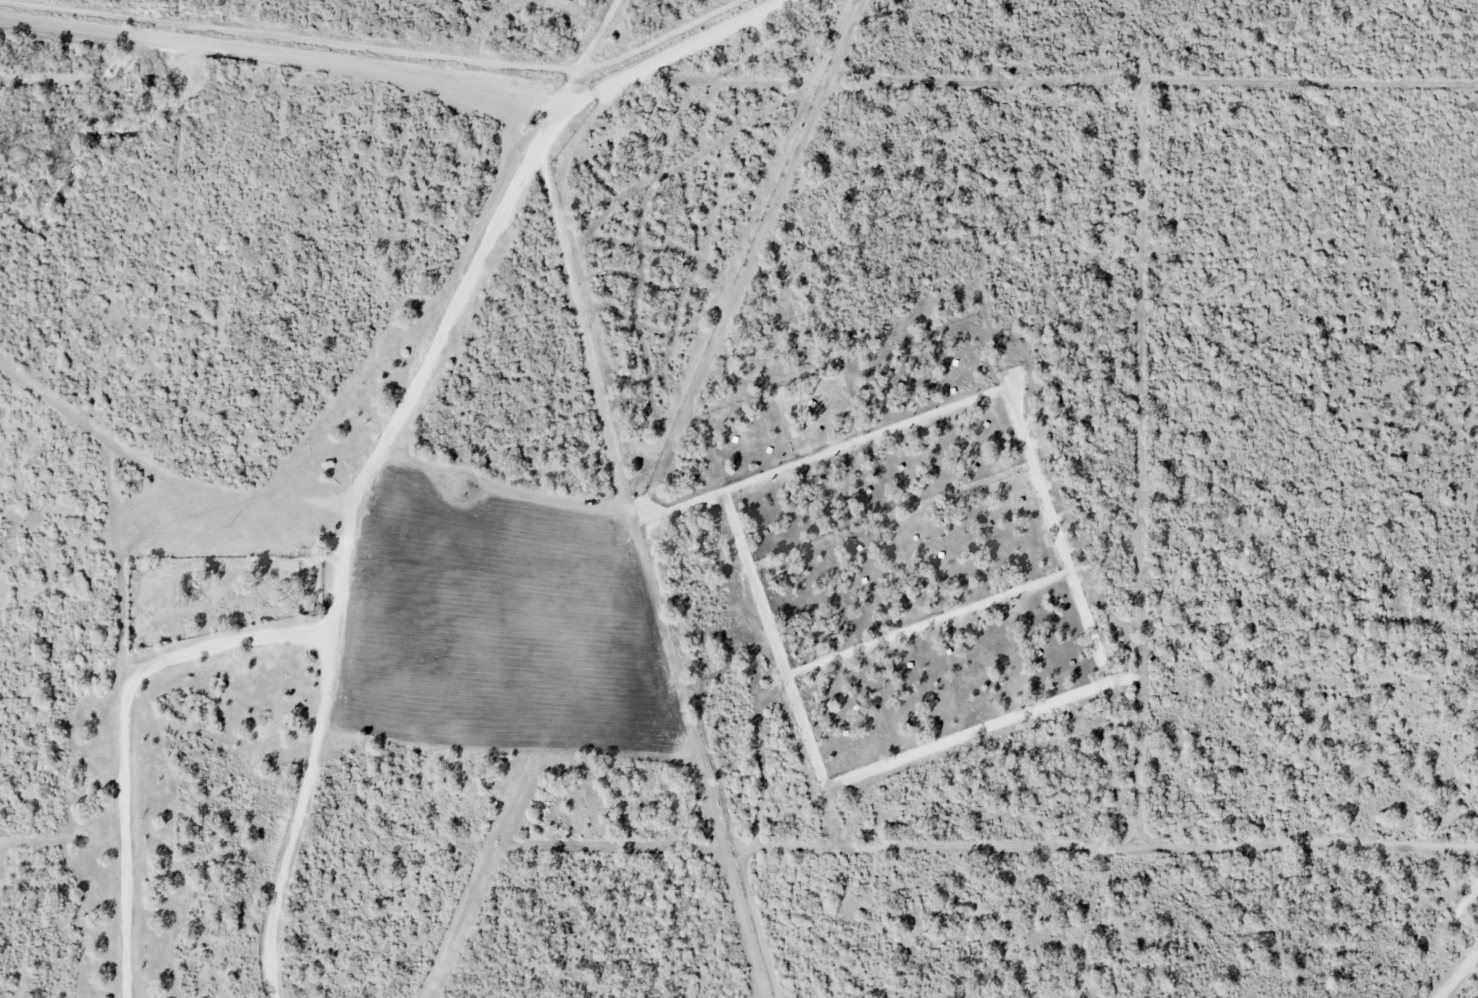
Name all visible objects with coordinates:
road: (259, 642)

